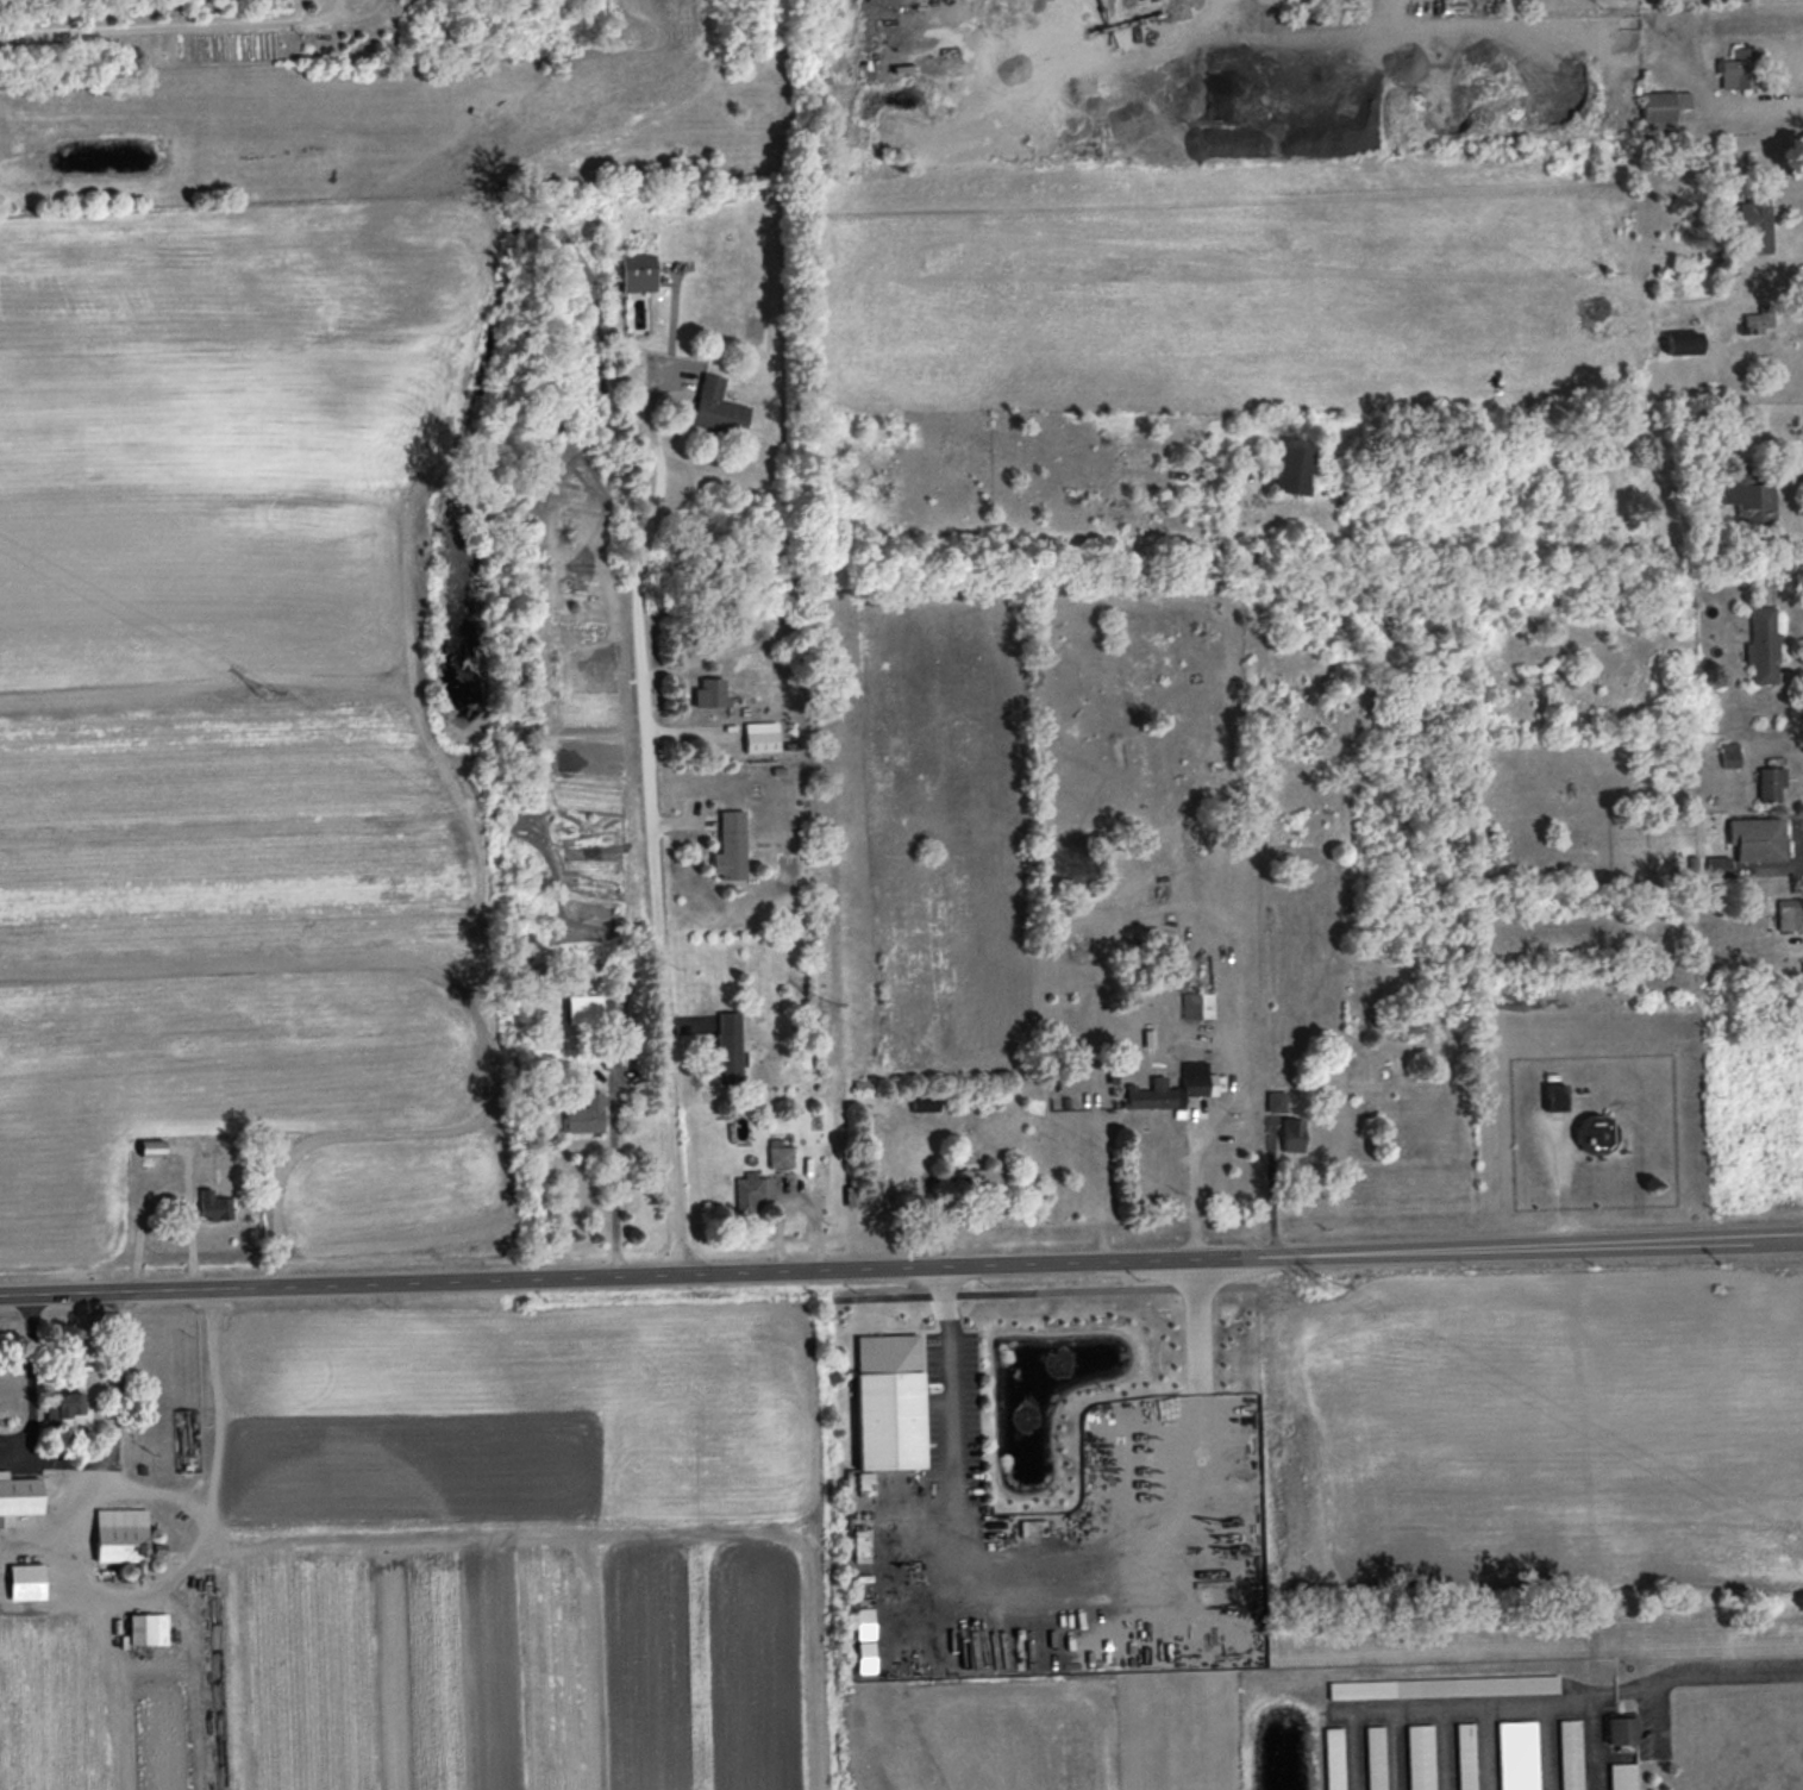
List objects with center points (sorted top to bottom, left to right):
road: (131, 27)
building: (1739, 68)
road: (1780, 101)
building: (1661, 112)
building: (1755, 225)
building: (638, 273)
road: (1776, 273)
road: (670, 319)
building: (1754, 321)
building: (1682, 343)
building: (718, 407)
road: (645, 417)
building: (1294, 464)
building: (1751, 500)
building: (1761, 644)
building: (709, 693)
power tower: (261, 695)
building: (760, 737)
building: (1729, 753)
building: (1770, 782)
building: (1714, 800)
building: (1757, 838)
road: (1802, 844)
building: (730, 846)
building: (1717, 866)
road: (653, 874)
building: (1788, 914)
power tower: (816, 1001)
building: (1197, 1004)
building: (583, 1009)
building: (728, 1047)
building: (1554, 1096)
building: (1276, 1102)
building: (925, 1103)
building: (586, 1114)
building: (1594, 1131)
building: (1292, 1134)
building: (151, 1147)
building: (780, 1154)
building: (978, 1176)
road: (613, 1182)
road: (1195, 1183)
road: (168, 1193)
building: (752, 1193)
building: (213, 1206)
road: (901, 1265)
power tower: (1323, 1288)
road: (30, 1377)
road: (949, 1385)
building: (888, 1401)
building: (67, 1412)
road: (219, 1417)
road: (114, 1476)
building: (17, 1494)
building: (0, 1521)
road: (526, 1532)
building: (118, 1534)
road: (1197, 1550)
building: (24, 1571)
building: (864, 1622)
building: (148, 1628)
building: (865, 1657)
building: (1442, 1686)
road: (1571, 1701)
airport runway: (1166, 1709)
airport: (1060, 1720)
building: (1620, 1728)
road: (1594, 1742)
road: (1347, 1750)
building: (1570, 1754)
building: (1465, 1755)
building: (1516, 1755)
building: (1420, 1757)
building: (1334, 1758)
building: (1375, 1758)
airport runway: (889, 1771)
building: (1622, 1776)

